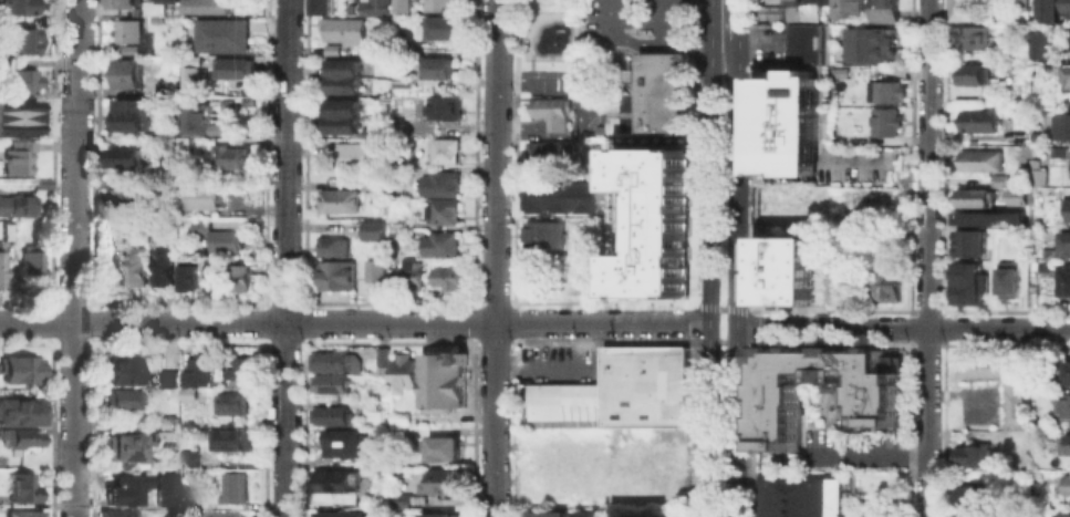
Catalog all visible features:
building: (118, 2)
building: (206, 4)
building: (439, 4)
building: (1020, 4)
building: (157, 6)
building: (401, 6)
building: (1068, 6)
building: (17, 7)
building: (320, 7)
building: (377, 7)
building: (845, 9)
building: (964, 9)
building: (1047, 9)
building: (785, 10)
building: (883, 11)
road: (738, 19)
parking lot: (635, 23)
building: (443, 28)
building: (341, 29)
building: (127, 30)
building: (220, 32)
building: (970, 37)
road: (635, 39)
building: (22, 41)
building: (807, 41)
building: (1040, 42)
building: (869, 43)
building: (127, 49)
building: (329, 49)
building: (232, 68)
building: (437, 68)
building: (190, 73)
building: (127, 74)
building: (970, 74)
building: (342, 75)
building: (1066, 76)
building: (22, 81)
building: (401, 81)
building: (166, 87)
building: (884, 91)
building: (662, 93)
building: (230, 103)
building: (17, 107)
building: (441, 108)
road: (575, 108)
building: (549, 110)
building: (132, 114)
building: (342, 117)
building: (197, 118)
building: (978, 120)
building: (789, 122)
building: (884, 122)
building: (17, 124)
building: (1061, 125)
building: (221, 131)
building: (441, 151)
building: (549, 153)
building: (14, 155)
building: (357, 155)
building: (126, 156)
building: (232, 157)
building: (979, 159)
building: (1069, 167)
building: (1036, 170)
building: (998, 179)
building: (439, 196)
building: (1015, 196)
building: (207, 197)
building: (125, 198)
building: (976, 198)
building: (339, 201)
building: (789, 204)
building: (15, 205)
building: (1066, 208)
building: (986, 214)
building: (654, 220)
building: (396, 224)
building: (202, 226)
building: (372, 230)
building: (542, 235)
building: (970, 240)
building: (1066, 240)
building: (226, 242)
building: (439, 244)
building: (332, 247)
building: (1050, 252)
road: (74, 258)
road: (283, 258)
road: (496, 258)
road: (708, 258)
road: (927, 258)
building: (0, 263)
building: (135, 265)
building: (558, 266)
building: (29, 267)
building: (163, 267)
building: (785, 267)
building: (374, 271)
building: (408, 273)
building: (333, 276)
building: (445, 277)
road: (736, 277)
building: (187, 278)
building: (215, 278)
building: (241, 278)
building: (1006, 279)
building: (1066, 279)
building: (970, 281)
building: (835, 282)
building: (886, 285)
road: (721, 308)
road: (354, 322)
road: (902, 327)
road: (721, 340)
building: (380, 356)
building: (332, 362)
parking lot: (560, 364)
road: (571, 364)
building: (194, 369)
building: (240, 369)
building: (20, 370)
building: (124, 370)
building: (402, 372)
building: (1067, 373)
building: (166, 380)
building: (443, 380)
building: (645, 383)
building: (329, 385)
building: (185, 392)
building: (1011, 399)
building: (124, 401)
building: (230, 404)
building: (569, 404)
building: (875, 404)
building: (1066, 404)
building: (21, 412)
building: (329, 416)
building: (398, 418)
building: (1032, 422)
building: (160, 437)
building: (666, 437)
building: (18, 438)
building: (230, 438)
building: (1012, 443)
building: (1063, 443)
building: (343, 444)
building: (443, 447)
building: (124, 448)
parking lot: (852, 451)
road: (870, 455)
building: (187, 458)
building: (970, 458)
building: (168, 476)
building: (441, 480)
building: (333, 482)
building: (1067, 483)
building: (22, 487)
building: (232, 487)
building: (128, 495)
building: (797, 495)
building: (969, 496)
building: (401, 499)
parking lot: (875, 509)
building: (585, 513)
building: (117, 514)
building: (340, 514)
building: (547, 514)
road: (876, 514)
building: (966, 514)
building: (1063, 514)
building: (24, 515)
building: (439, 516)

